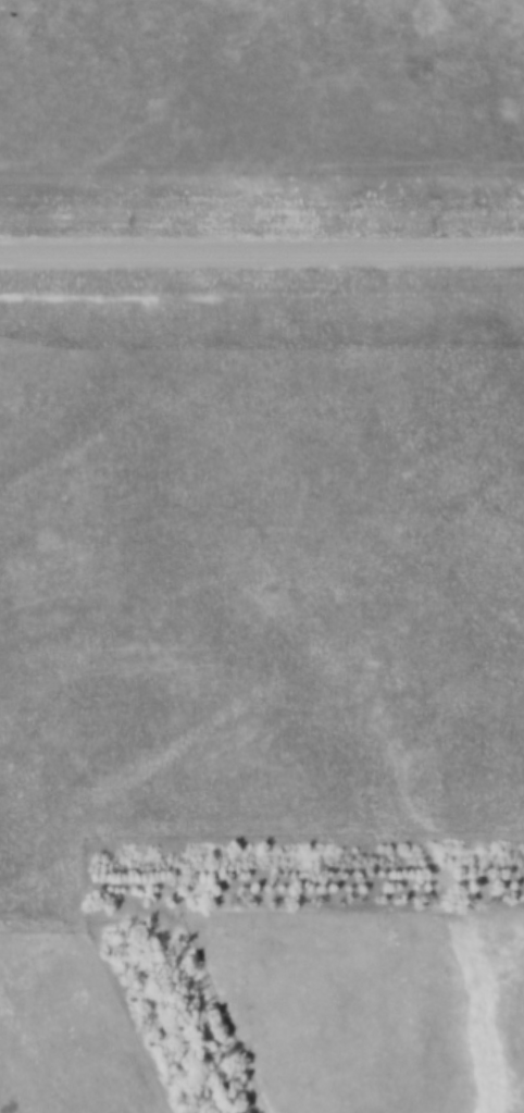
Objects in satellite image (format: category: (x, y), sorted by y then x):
road: (262, 256)

